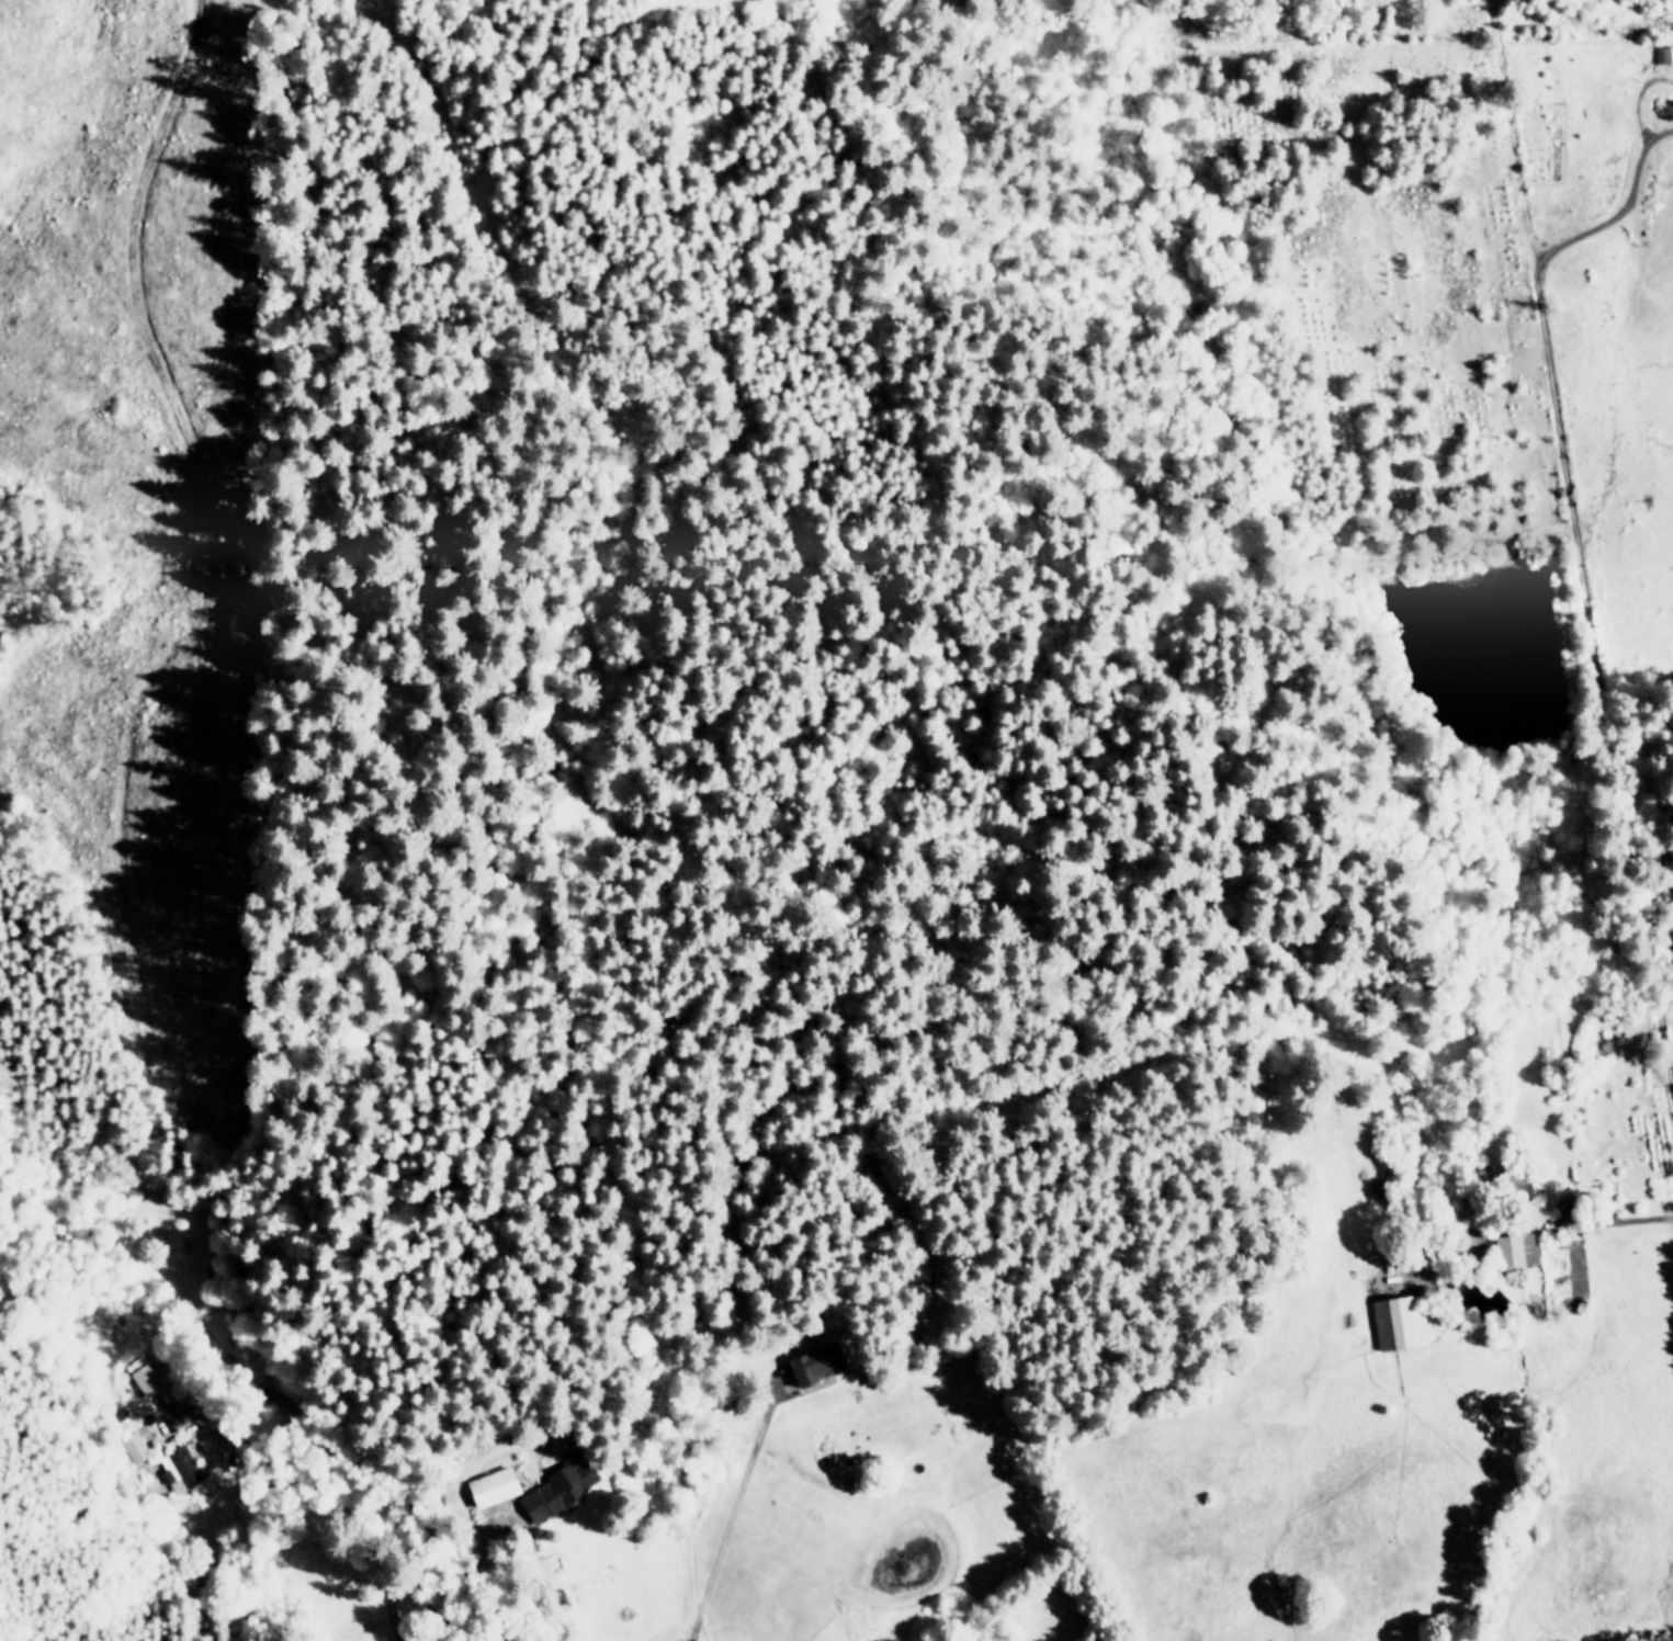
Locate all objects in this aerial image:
road: (1616, 206)
road: (1579, 550)
road: (1605, 1219)
building: (1516, 1248)
building: (1398, 1323)
building: (819, 1361)
building: (143, 1376)
building: (135, 1446)
building: (179, 1469)
road: (375, 1476)
building: (491, 1486)
road: (732, 1514)
road: (770, 1563)
road: (418, 1595)

